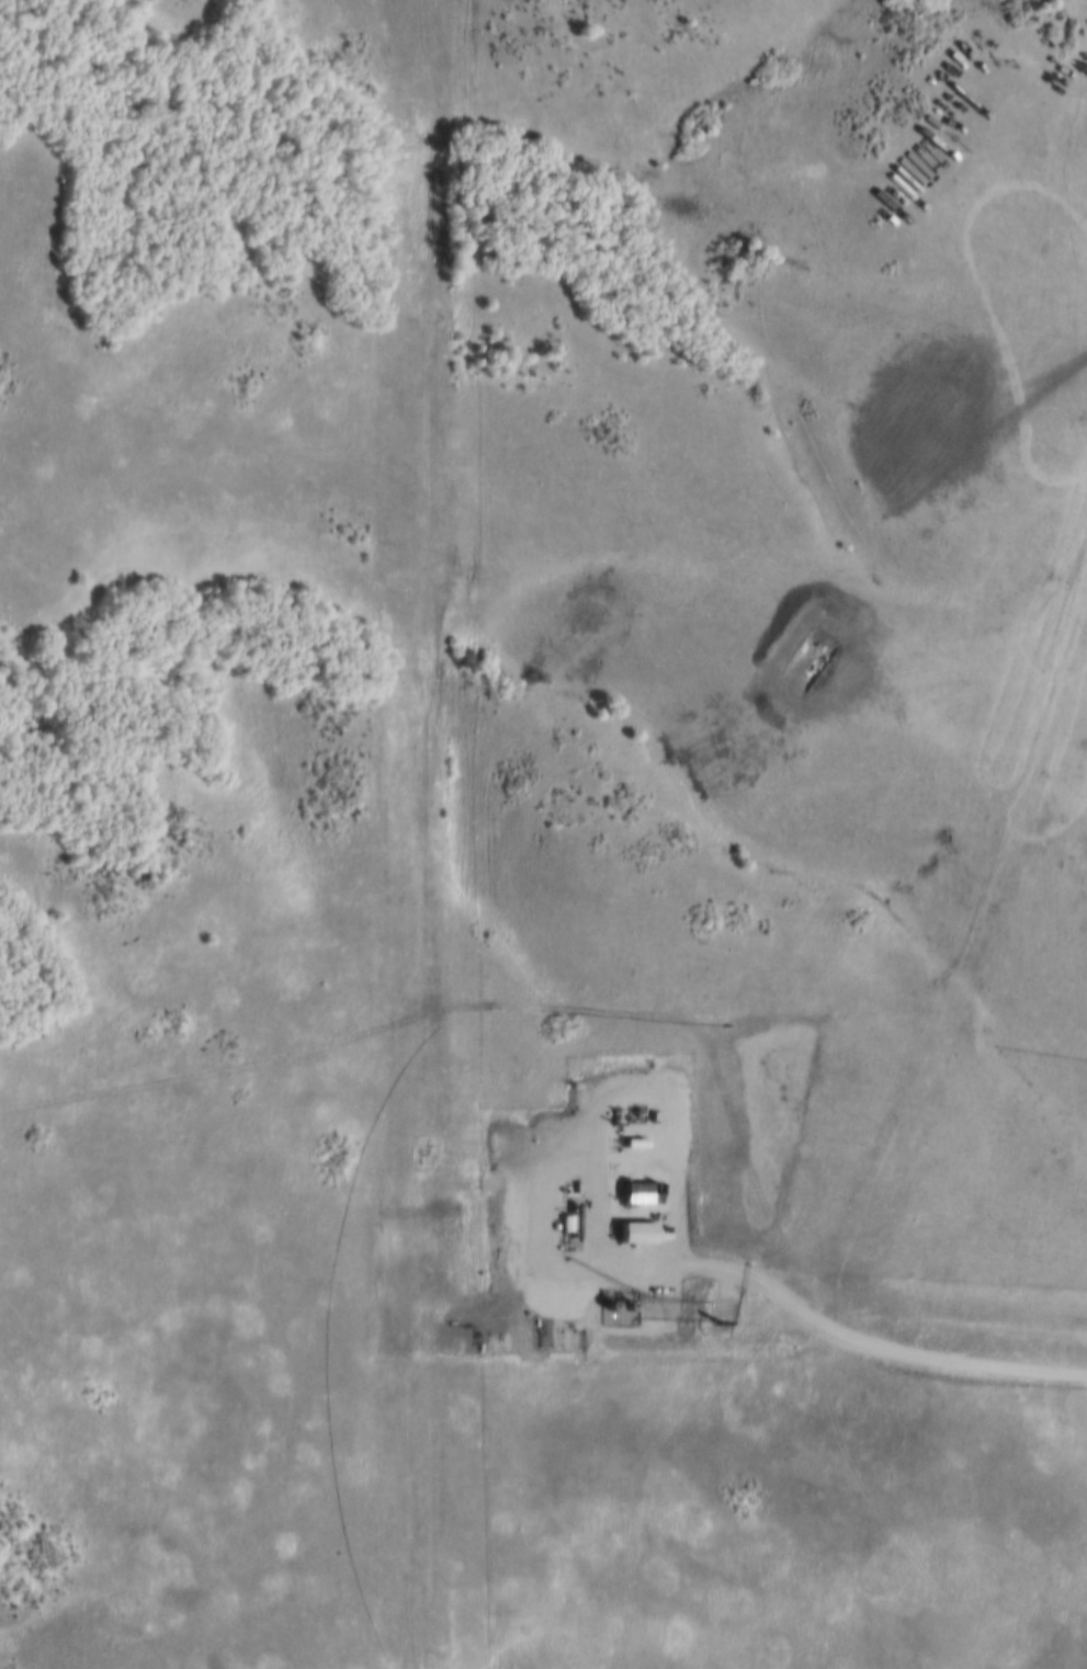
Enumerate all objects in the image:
building: (630, 1185)
building: (633, 1231)
road: (857, 1338)

